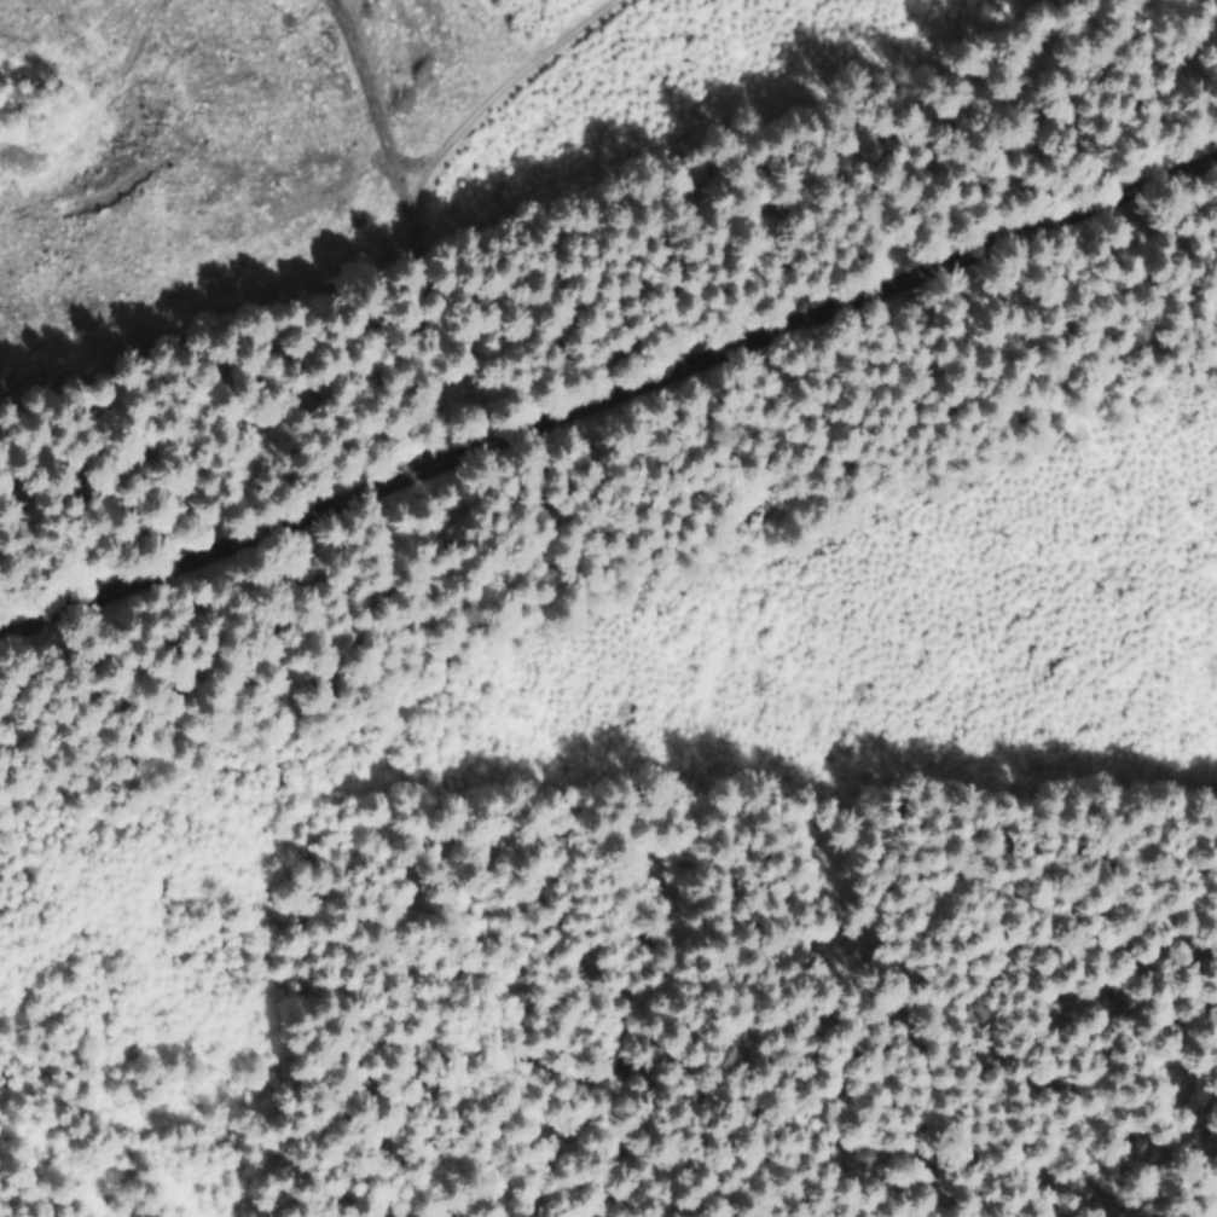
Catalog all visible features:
road: (370, 88)
road: (404, 198)
road: (605, 394)

